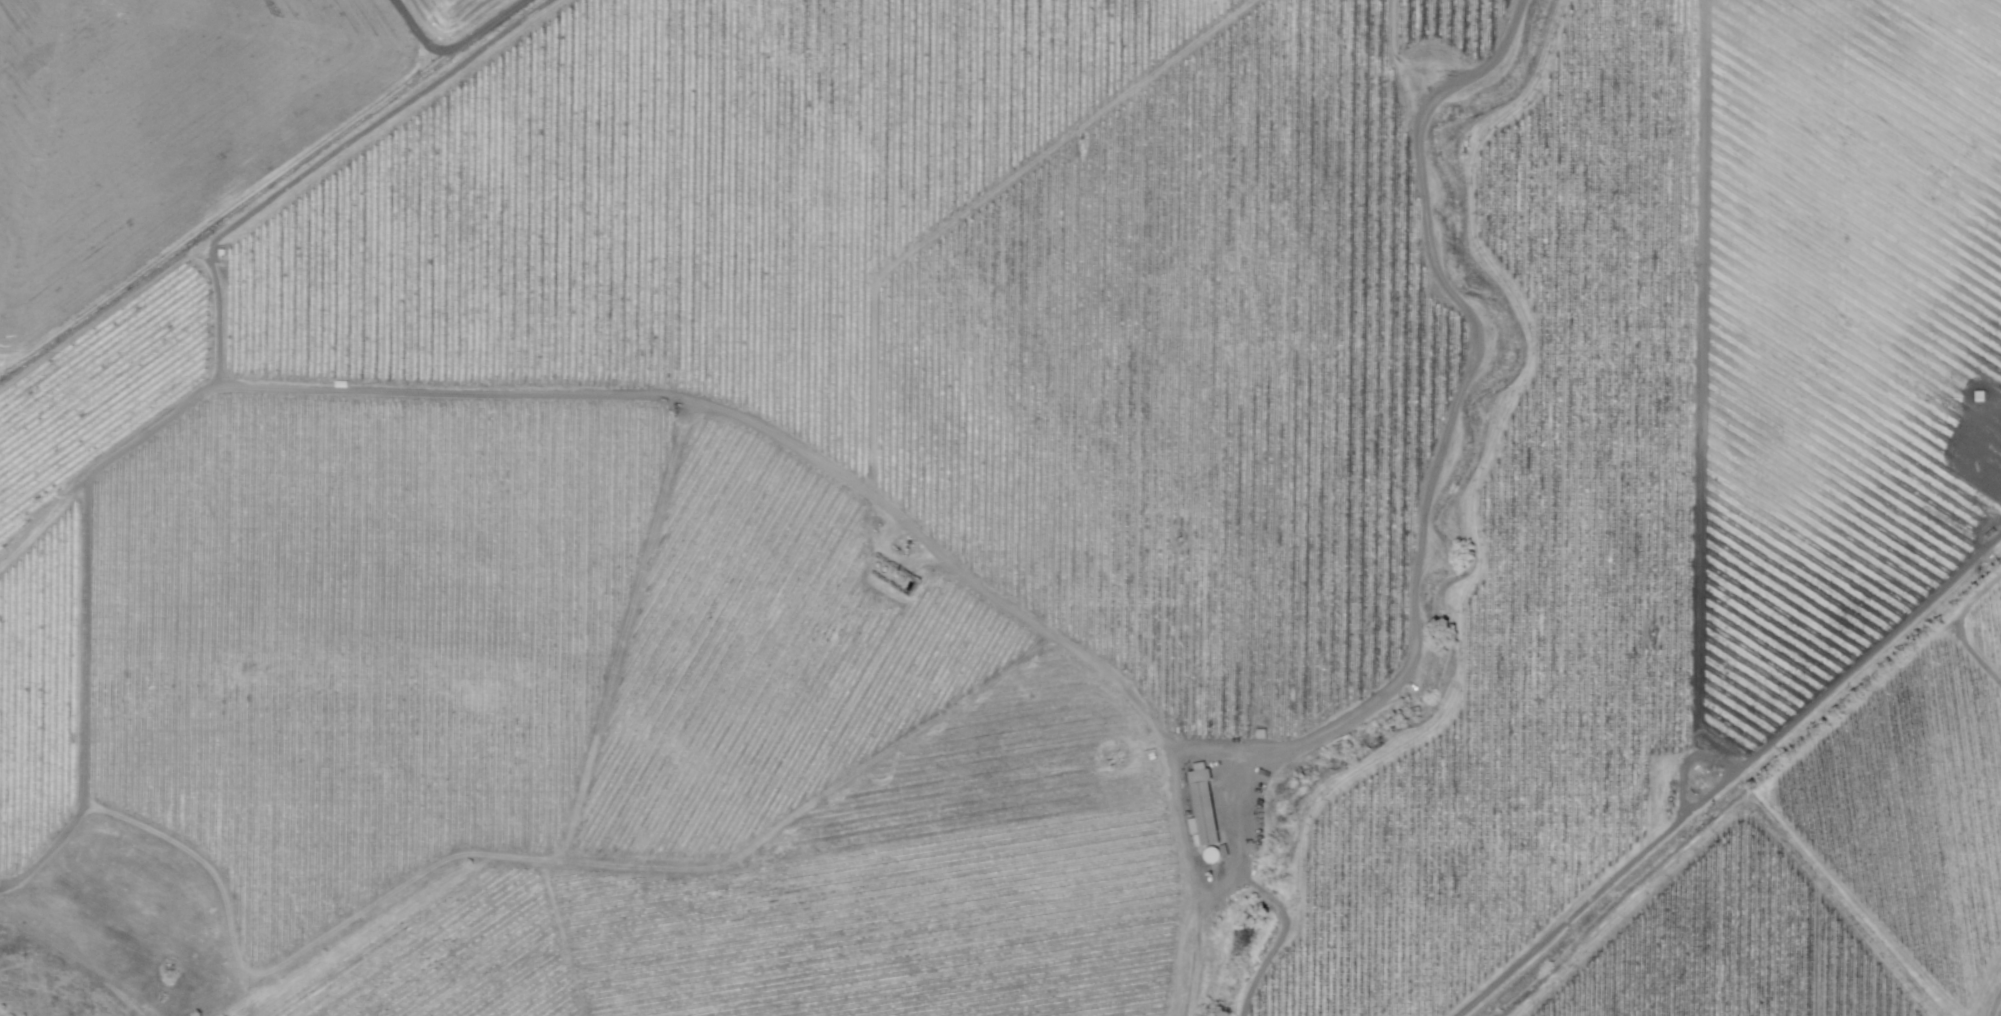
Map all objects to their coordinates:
crop: (171, 122)
building: (224, 256)
road: (1961, 632)
building: (1207, 806)
road: (155, 833)
road: (9, 889)
road: (1992, 1000)

